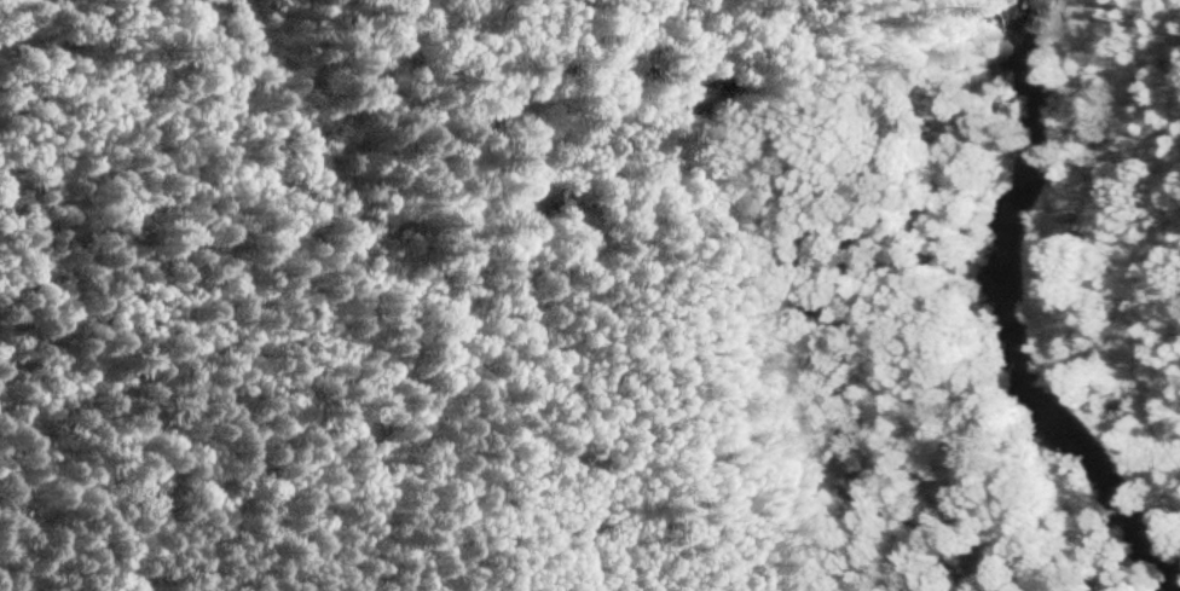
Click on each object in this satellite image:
road: (279, 64)
road: (134, 123)
river: (1020, 305)
road: (502, 359)

